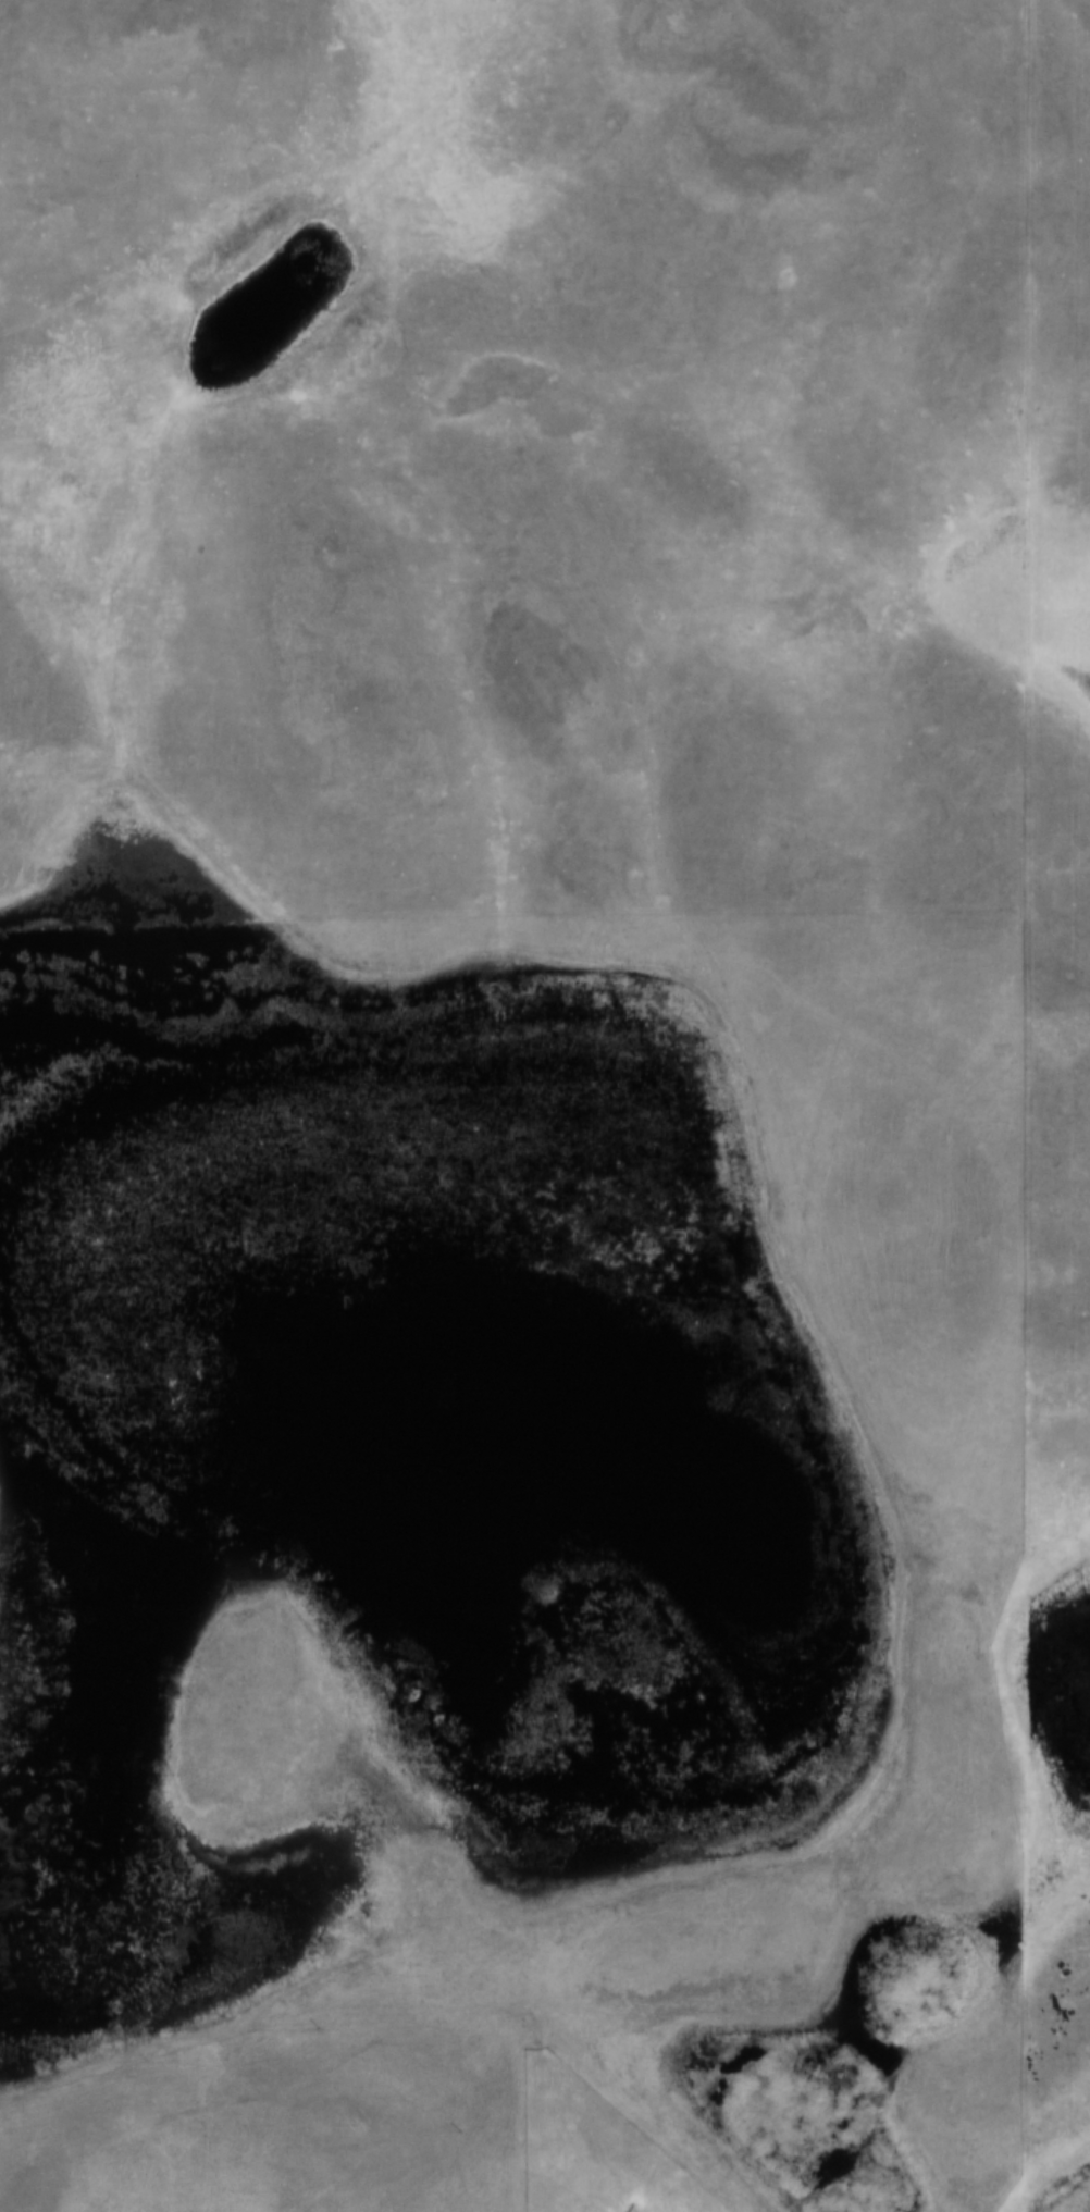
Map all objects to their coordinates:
road: (978, 1105)

